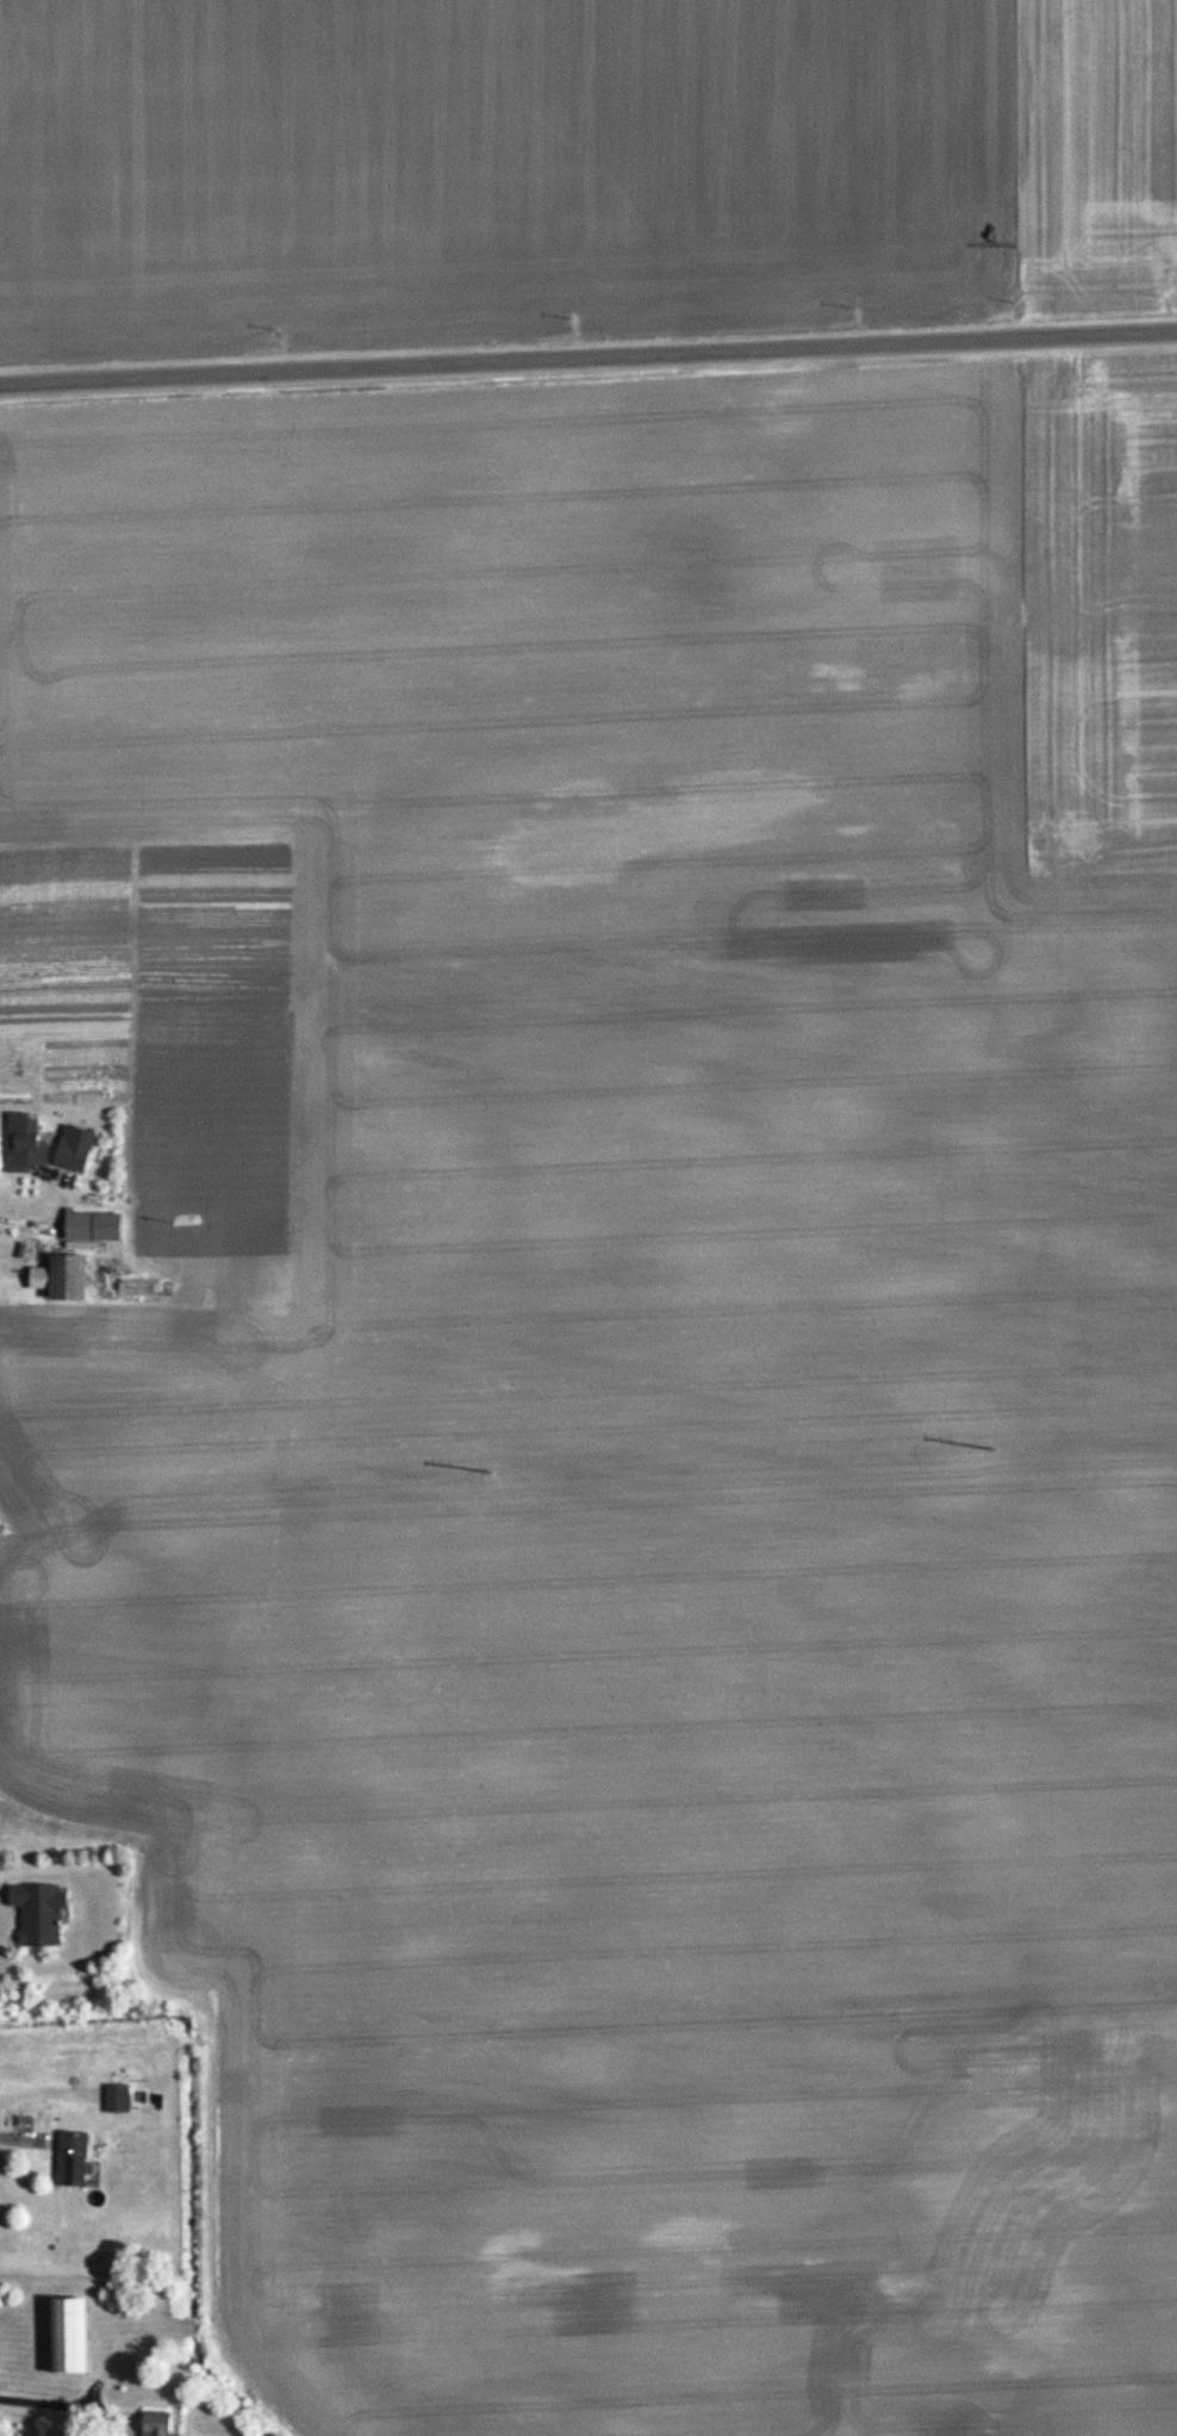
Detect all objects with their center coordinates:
road: (588, 361)
building: (32, 1144)
building: (79, 1156)
building: (66, 1279)
power tower: (998, 1453)
power tower: (498, 1473)
power tower: (6, 1527)
building: (49, 1913)
building: (124, 2096)
building: (82, 2157)
building: (81, 2335)
road: (67, 2406)
building: (166, 2423)

